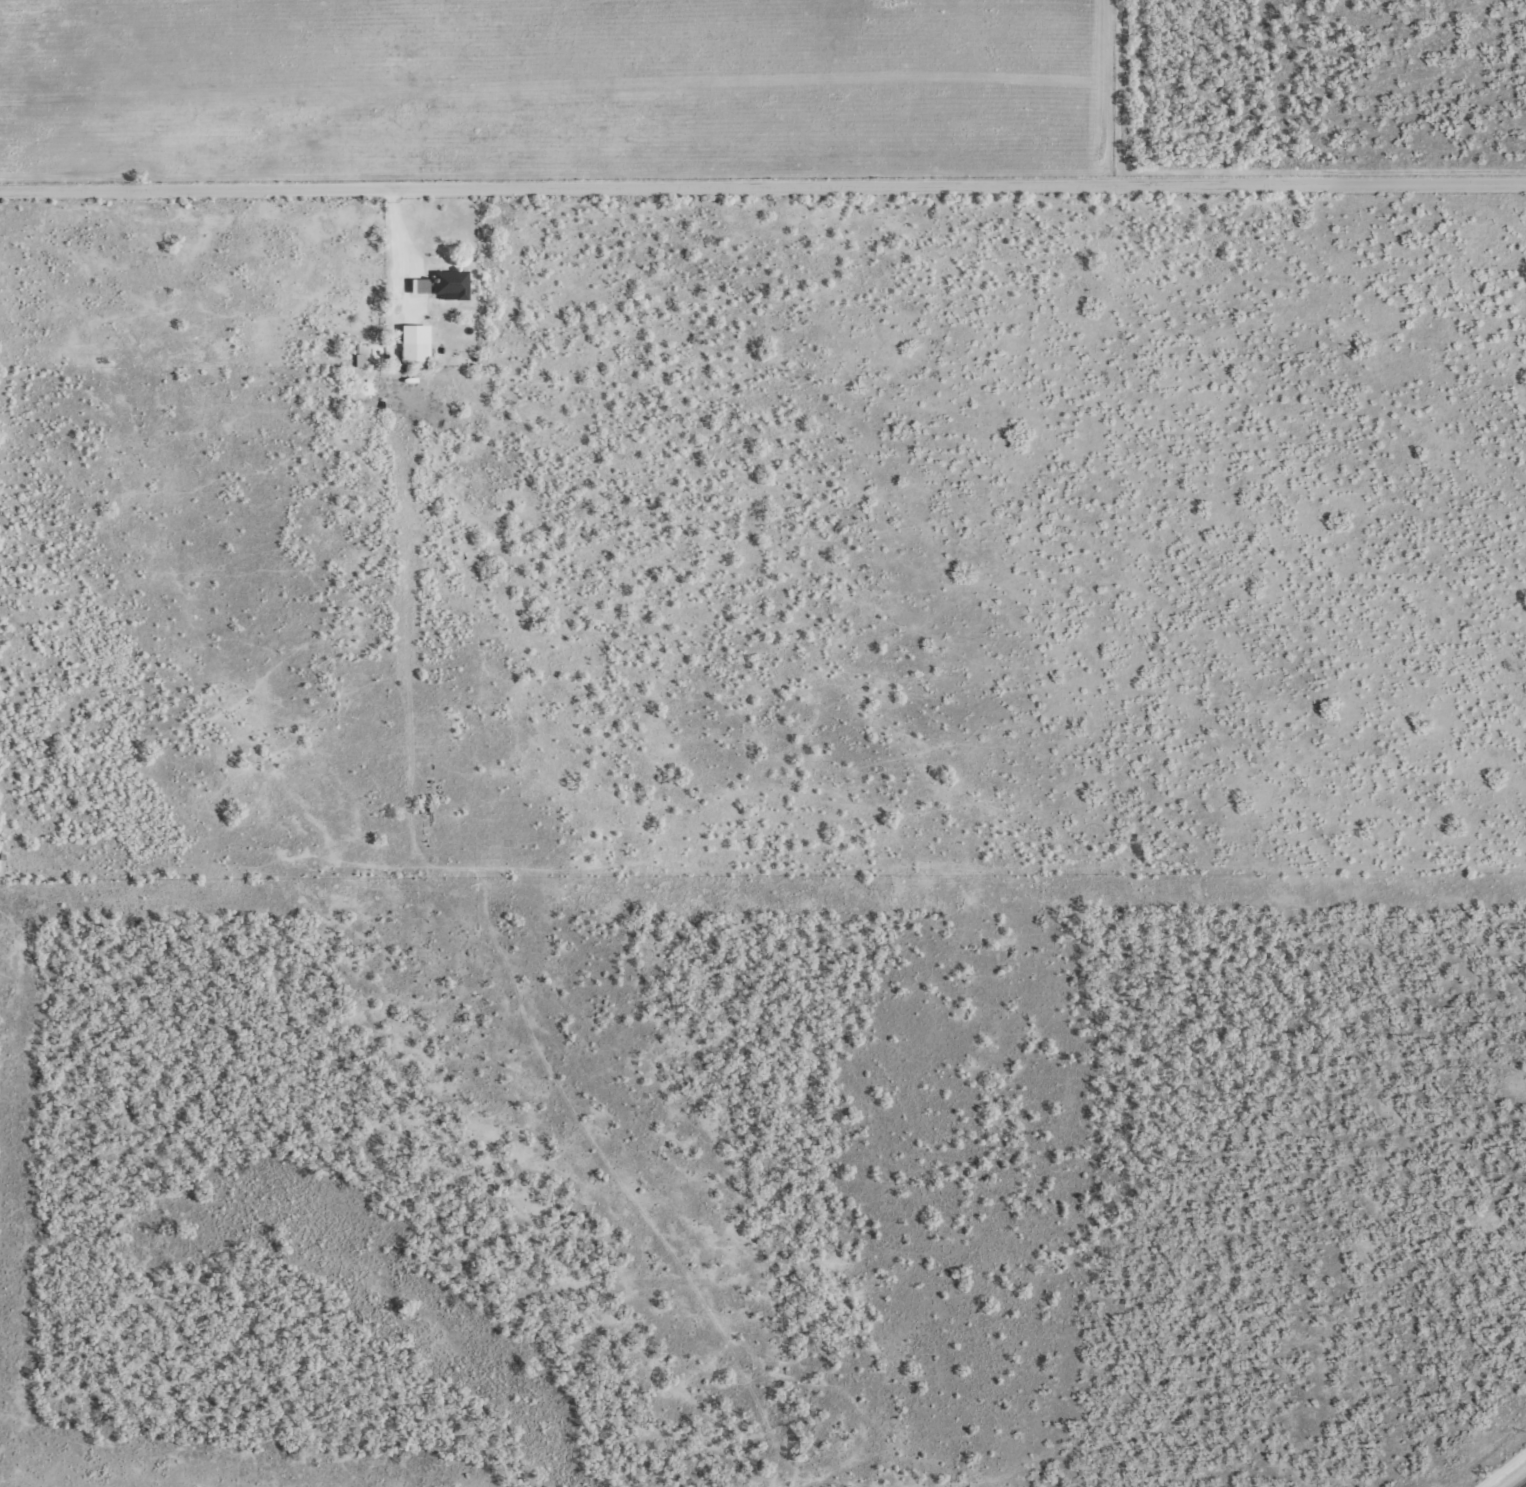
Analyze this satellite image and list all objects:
road: (763, 149)
road: (1, 223)
building: (452, 284)
building: (415, 343)

